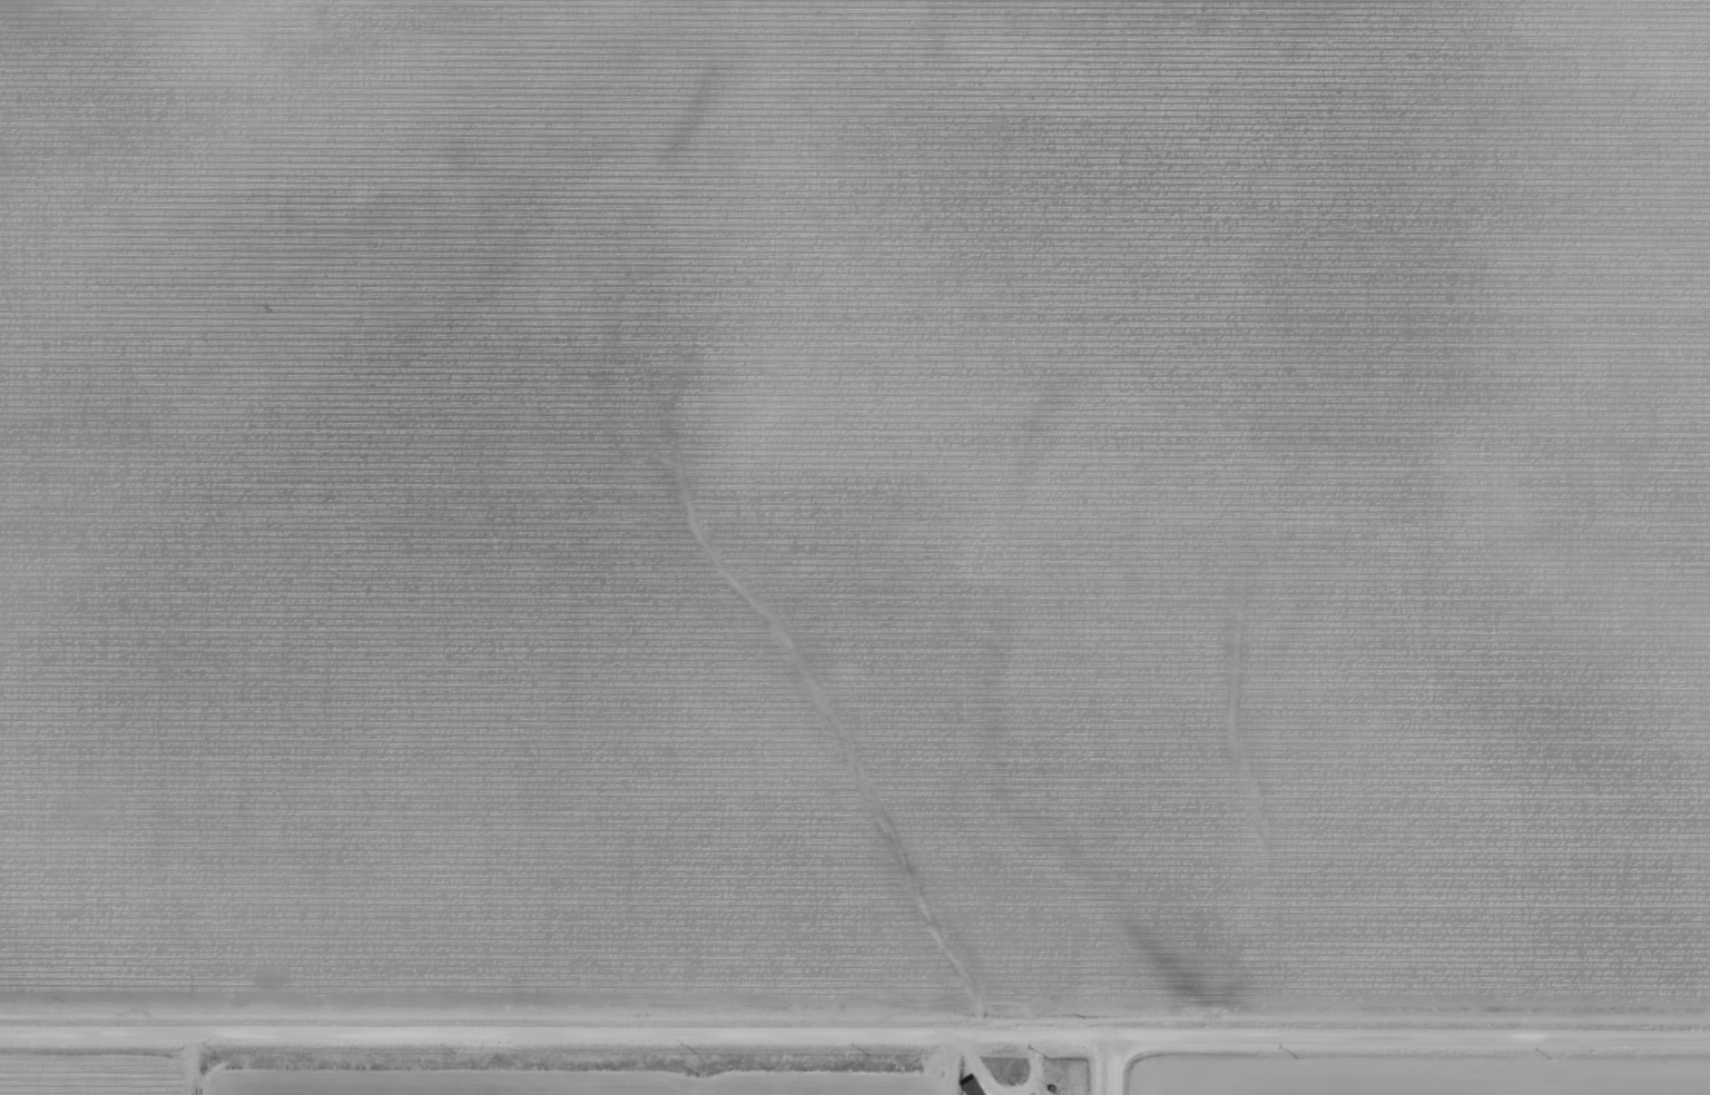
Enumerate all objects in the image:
road: (854, 1037)
road: (1108, 1067)

